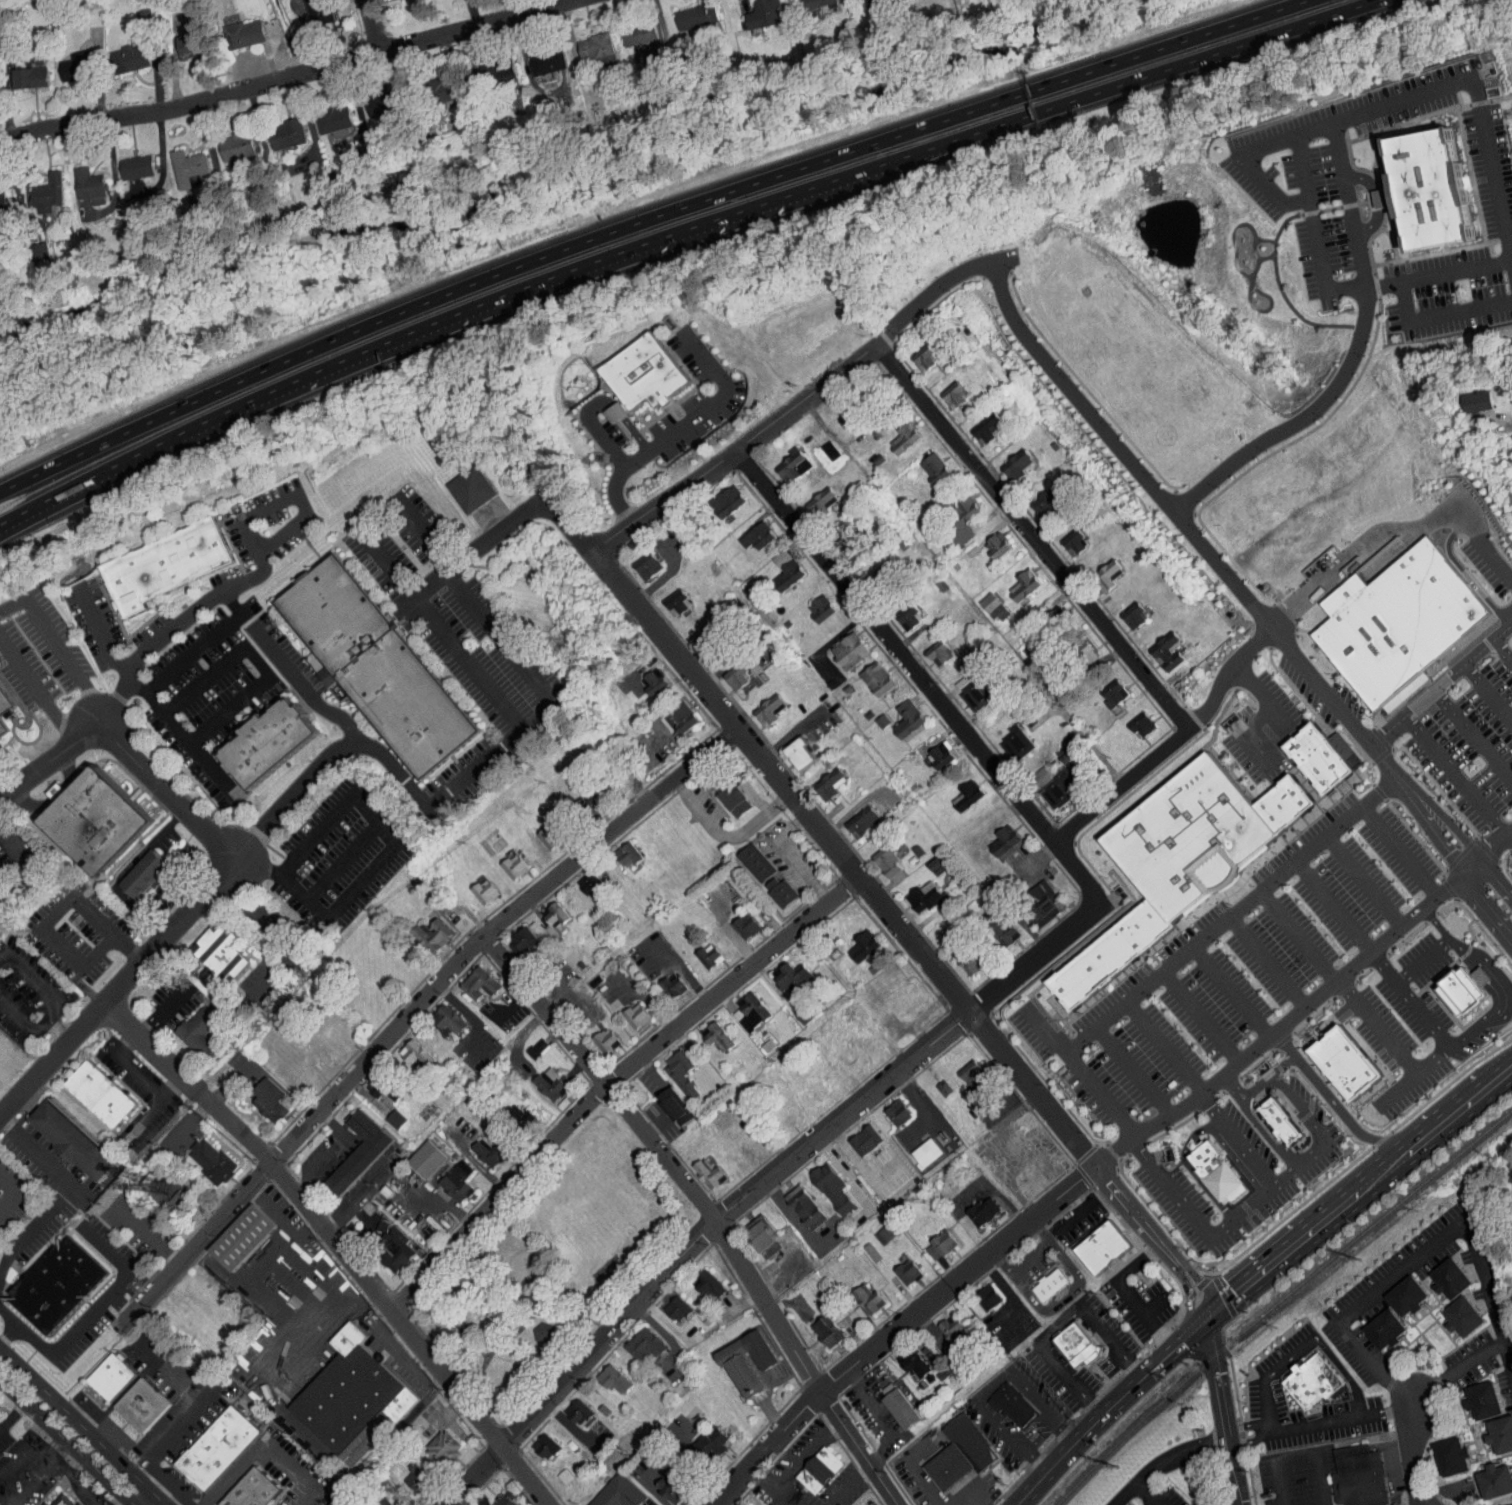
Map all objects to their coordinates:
building: (799, 1)
building: (309, 8)
building: (686, 10)
building: (750, 10)
road: (375, 26)
building: (234, 27)
building: (629, 27)
building: (179, 38)
building: (587, 41)
building: (119, 51)
building: (537, 56)
building: (63, 60)
building: (486, 64)
building: (18, 71)
road: (287, 77)
building: (434, 82)
road: (1087, 95)
road: (1416, 95)
building: (371, 98)
building: (323, 112)
building: (276, 127)
building: (227, 139)
building: (126, 160)
building: (177, 160)
building: (79, 179)
building: (1420, 182)
building: (37, 187)
road: (1282, 202)
road: (643, 220)
building: (28, 245)
road: (1455, 272)
road: (1426, 315)
road: (393, 338)
building: (914, 352)
building: (645, 373)
building: (945, 388)
building: (1466, 395)
road: (807, 398)
building: (605, 406)
road: (617, 411)
road: (1298, 419)
building: (978, 421)
road: (1506, 423)
road: (594, 427)
road: (675, 430)
building: (895, 431)
road: (633, 435)
building: (783, 458)
building: (1008, 458)
building: (925, 462)
building: (472, 487)
building: (717, 495)
building: (811, 495)
building: (1038, 496)
road: (261, 512)
building: (953, 512)
road: (375, 517)
road: (1183, 521)
road: (512, 525)
road: (1394, 529)
building: (748, 530)
building: (1064, 536)
road: (1032, 537)
building: (987, 538)
building: (837, 539)
building: (638, 559)
building: (167, 566)
building: (1099, 566)
building: (779, 568)
building: (1014, 579)
building: (665, 596)
building: (811, 602)
road: (235, 607)
building: (899, 609)
building: (1124, 610)
building: (1399, 624)
building: (693, 632)
building: (839, 644)
building: (1157, 645)
building: (928, 647)
building: (1076, 647)
road: (56, 649)
road: (1504, 650)
road: (516, 651)
road: (115, 657)
road: (255, 660)
building: (375, 666)
building: (730, 672)
building: (867, 672)
road: (921, 675)
building: (644, 676)
road: (1224, 676)
building: (1104, 687)
road: (1439, 687)
road: (301, 688)
building: (967, 688)
road: (36, 691)
road: (1489, 691)
road: (1260, 695)
building: (5, 697)
building: (759, 704)
building: (670, 710)
road: (505, 711)
building: (897, 713)
building: (1131, 719)
building: (2, 728)
road: (1241, 733)
road: (1081, 734)
road: (791, 735)
building: (1006, 736)
road: (1473, 738)
building: (269, 741)
road: (187, 743)
building: (790, 748)
building: (930, 750)
road: (52, 756)
road: (325, 757)
building: (1318, 757)
road: (1456, 776)
building: (820, 778)
building: (1048, 785)
road: (1121, 785)
building: (44, 788)
building: (720, 790)
building: (957, 790)
building: (1284, 803)
building: (852, 816)
road: (1430, 820)
building: (96, 821)
building: (539, 830)
building: (1190, 835)
building: (995, 836)
building: (617, 848)
road: (1397, 849)
road: (1039, 854)
building: (745, 857)
road: (380, 859)
building: (879, 859)
building: (927, 859)
building: (504, 860)
road: (340, 862)
building: (134, 868)
road: (26, 869)
building: (148, 874)
building: (581, 878)
road: (1360, 880)
road: (1495, 880)
building: (474, 885)
building: (769, 886)
building: (916, 891)
building: (1030, 897)
road: (130, 904)
road: (1332, 904)
road: (886, 907)
road: (1486, 907)
building: (543, 911)
road: (53, 914)
road: (183, 914)
building: (736, 920)
road: (1434, 923)
building: (993, 926)
building: (422, 928)
road: (1296, 934)
building: (511, 936)
road: (275, 938)
building: (854, 940)
road: (1188, 948)
building: (209, 950)
building: (699, 950)
building: (957, 953)
building: (1112, 953)
road: (1422, 959)
road: (1265, 961)
building: (782, 970)
building: (470, 978)
building: (662, 980)
road: (1230, 990)
building: (1462, 990)
building: (896, 991)
road: (1505, 991)
road: (511, 1004)
road: (1306, 1004)
road: (54, 1007)
road: (166, 1007)
building: (739, 1007)
building: (837, 1007)
road: (416, 1009)
building: (626, 1010)
building: (438, 1014)
road: (1201, 1016)
road: (470, 1018)
building: (186, 1025)
building: (199, 1029)
building: (707, 1029)
road: (1046, 1029)
road: (59, 1032)
building: (596, 1034)
building: (525, 1042)
road: (1165, 1047)
building: (406, 1049)
building: (843, 1053)
road: (1431, 1058)
building: (1344, 1061)
road: (1282, 1063)
building: (671, 1068)
road: (1134, 1071)
building: (963, 1074)
building: (541, 1078)
road: (613, 1079)
building: (807, 1082)
building: (933, 1082)
road: (1280, 1083)
building: (371, 1084)
road: (1229, 1088)
road: (1394, 1089)
building: (101, 1094)
building: (259, 1094)
building: (272, 1098)
building: (665, 1101)
road: (1332, 1103)
building: (887, 1107)
building: (510, 1112)
building: (385, 1113)
building: (1282, 1121)
building: (855, 1135)
building: (74, 1140)
road: (1234, 1142)
building: (349, 1147)
building: (915, 1147)
building: (476, 1148)
road: (330, 1151)
building: (416, 1153)
road: (40, 1157)
building: (215, 1161)
building: (698, 1167)
road: (1189, 1168)
building: (1217, 1170)
building: (447, 1177)
road: (755, 1182)
building: (821, 1182)
road: (1360, 1189)
road: (11, 1195)
building: (163, 1195)
building: (1507, 1198)
building: (794, 1201)
building: (973, 1206)
road: (705, 1208)
road: (1196, 1218)
building: (875, 1227)
building: (753, 1230)
road: (24, 1234)
road: (1445, 1234)
building: (243, 1236)
building: (930, 1240)
building: (1091, 1241)
road: (338, 1242)
building: (897, 1266)
building: (1039, 1278)
building: (1453, 1278)
building: (699, 1281)
road: (1195, 1282)
building: (59, 1283)
building: (978, 1291)
building: (858, 1293)
road: (1126, 1294)
road: (1187, 1295)
building: (1409, 1295)
railway: (1277, 1301)
building: (668, 1303)
road: (119, 1304)
road: (95, 1305)
road: (1152, 1305)
traffic signals: (1209, 1313)
building: (1465, 1315)
road: (1047, 1318)
road: (15, 1323)
building: (941, 1323)
road: (1198, 1324)
building: (817, 1326)
building: (532, 1327)
road: (900, 1329)
building: (1387, 1329)
building: (829, 1332)
building: (634, 1340)
building: (1076, 1345)
road: (1325, 1349)
road: (1507, 1353)
building: (904, 1357)
building: (750, 1360)
building: (109, 1376)
building: (1313, 1381)
road: (979, 1382)
building: (1474, 1395)
building: (355, 1397)
building: (891, 1403)
building: (143, 1405)
building: (1013, 1405)
road: (1264, 1405)
building: (568, 1407)
road: (1221, 1409)
road: (12, 1416)
road: (1102, 1419)
road: (1342, 1420)
road: (1246, 1426)
road: (80, 1427)
building: (1494, 1429)
road: (170, 1435)
building: (702, 1436)
building: (960, 1437)
road: (65, 1441)
building: (535, 1441)
road: (1248, 1441)
building: (433, 1442)
road: (52, 1444)
road: (265, 1444)
building: (218, 1446)
road: (1296, 1451)
building: (1442, 1451)
road: (1410, 1452)
road: (804, 1455)
road: (47, 1456)
building: (937, 1461)
road: (1165, 1461)
building: (808, 1466)
road: (62, 1469)
building: (405, 1471)
building: (820, 1471)
building: (1349, 1473)
building: (1486, 1476)
road: (71, 1484)
road: (925, 1484)
building: (665, 1485)
road: (849, 1486)
road: (771, 1487)
building: (253, 1490)
building: (622, 1493)
road: (1151, 1493)
building: (495, 1496)
road: (970, 1497)
building: (376, 1499)
building: (63, 1500)
road: (148, 1501)
building: (338, 1501)
building: (733, 1503)
building: (45, 1504)

